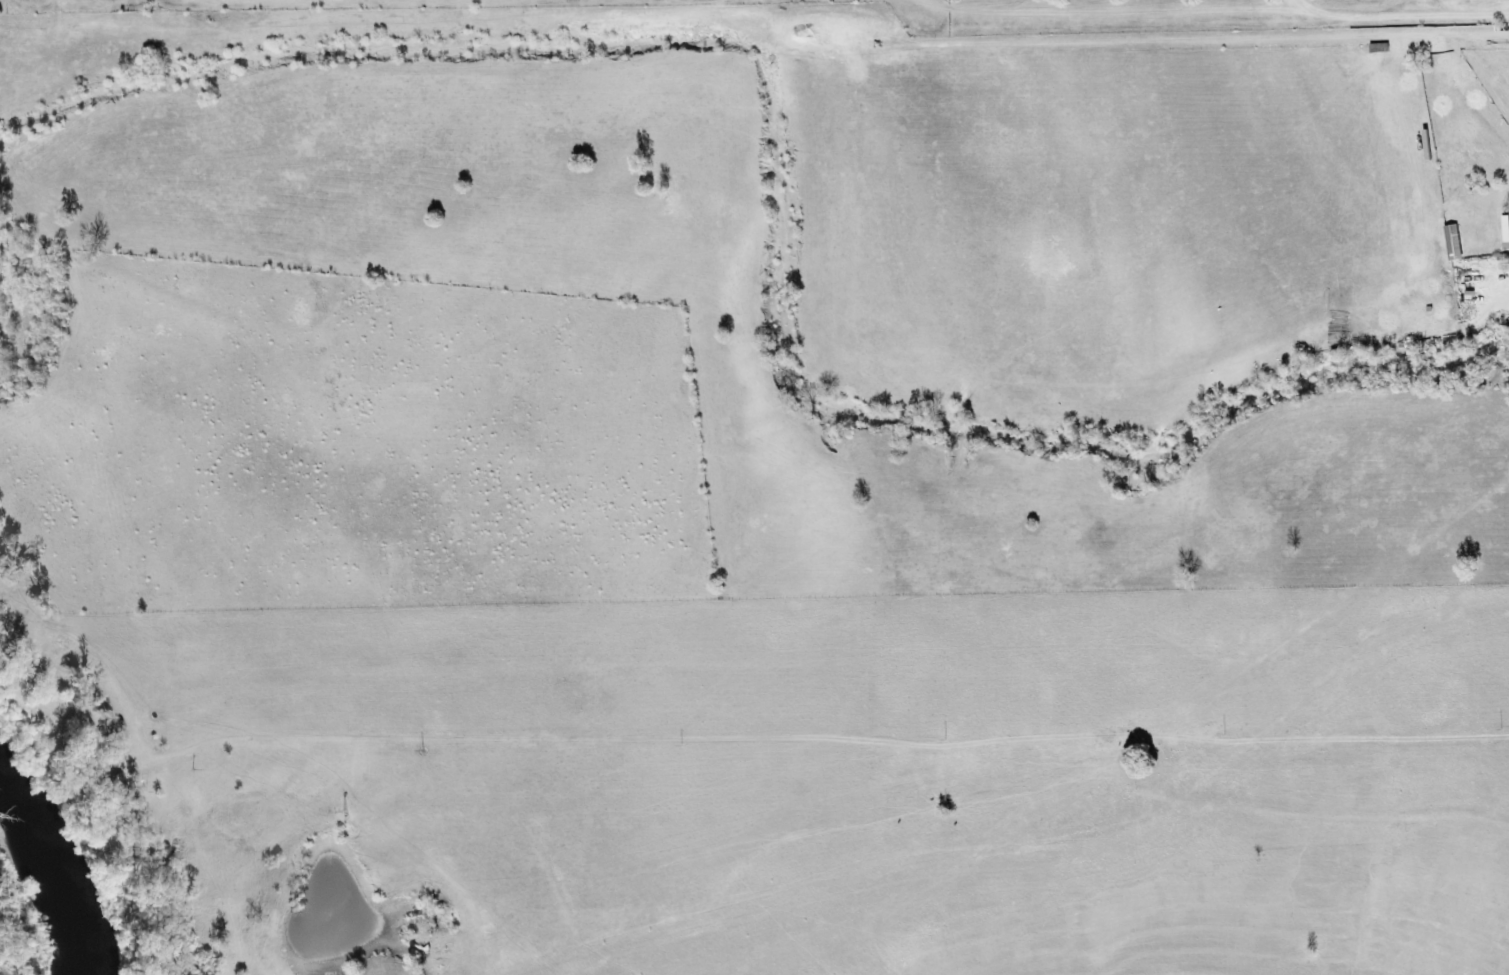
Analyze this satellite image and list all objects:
road: (1395, 15)
building: (1452, 242)
river: (55, 877)

